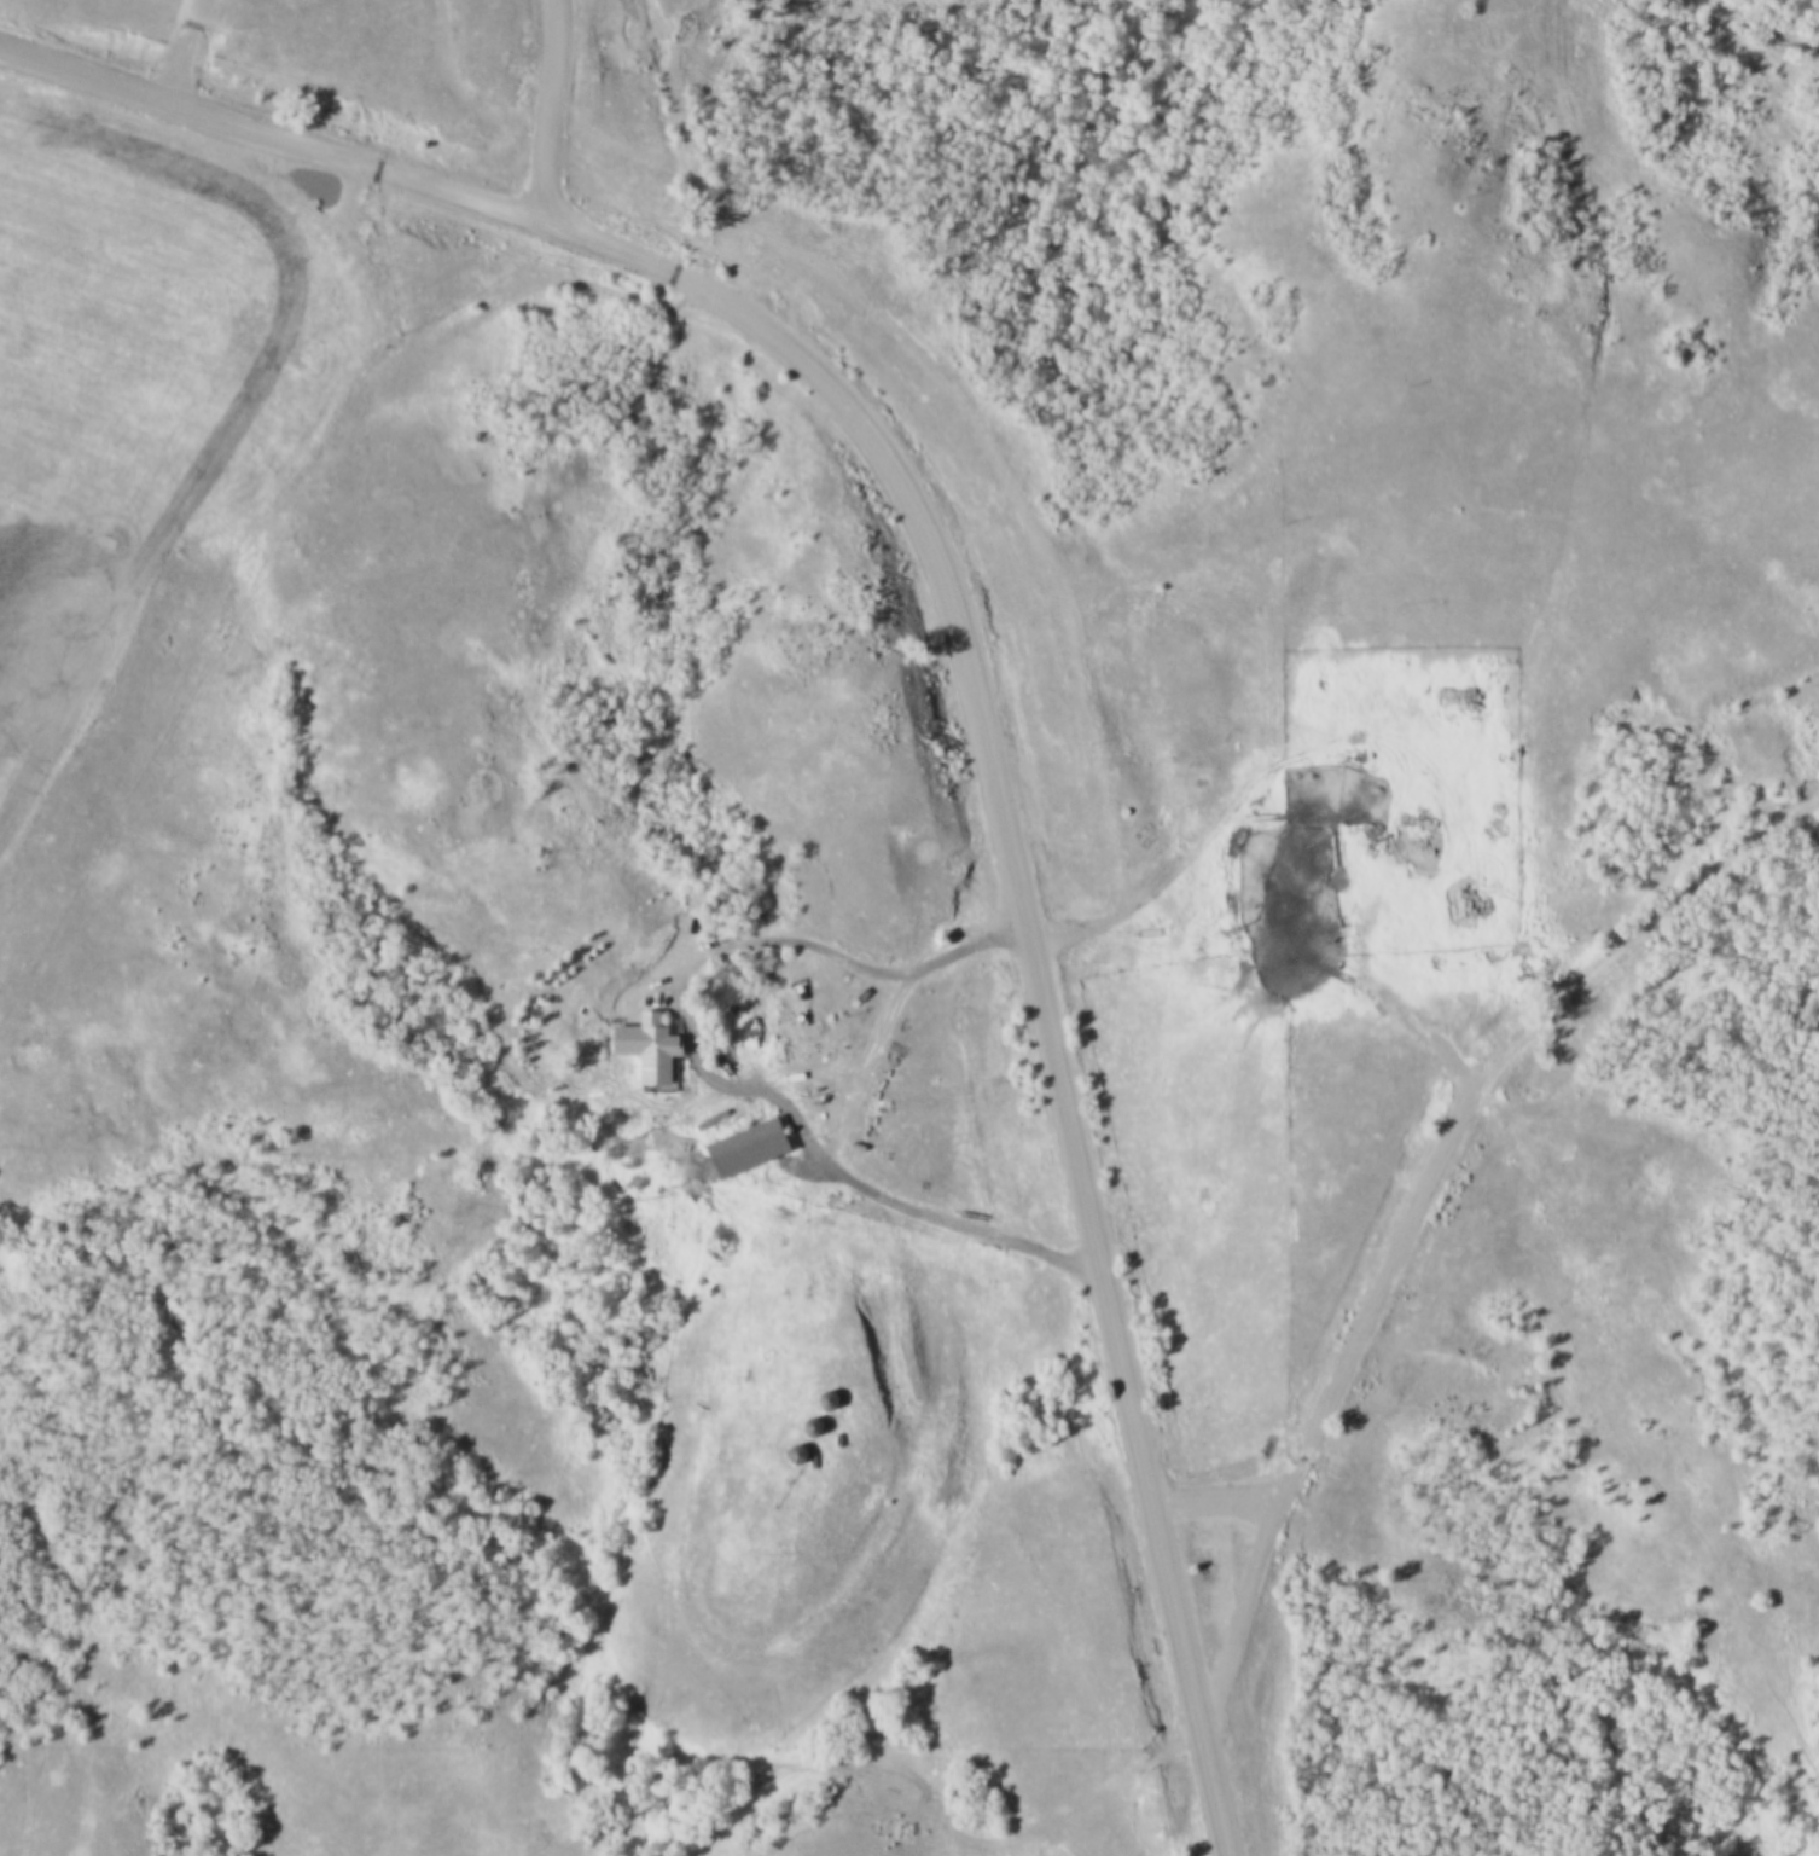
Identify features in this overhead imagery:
road: (1765, 29)
road: (552, 110)
road: (272, 141)
road: (1035, 942)
building: (930, 944)
road: (1280, 958)
road: (623, 1026)
building: (645, 1052)
road: (837, 1147)
building: (738, 1152)
road: (1420, 1208)
building: (819, 1406)
silo: (819, 1406)
building: (807, 1425)
building: (803, 1433)
silo: (803, 1433)
building: (792, 1452)
building: (788, 1461)
silo: (788, 1461)
road: (1219, 1508)
road: (804, 1732)
road: (987, 1850)

